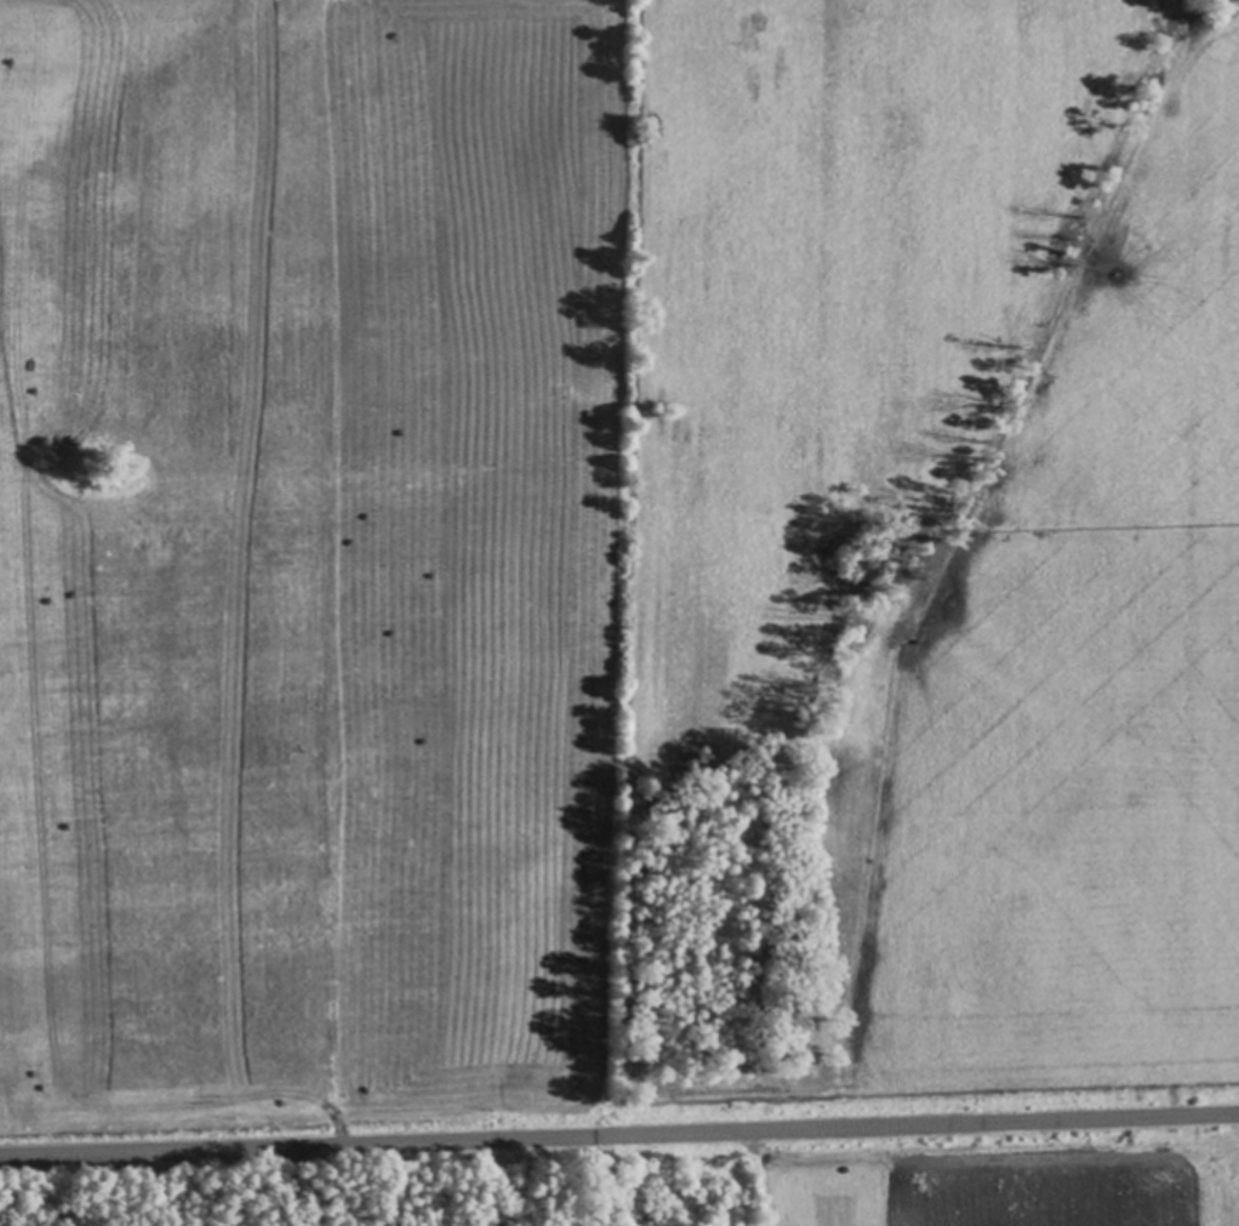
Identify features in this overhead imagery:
road: (619, 1139)

